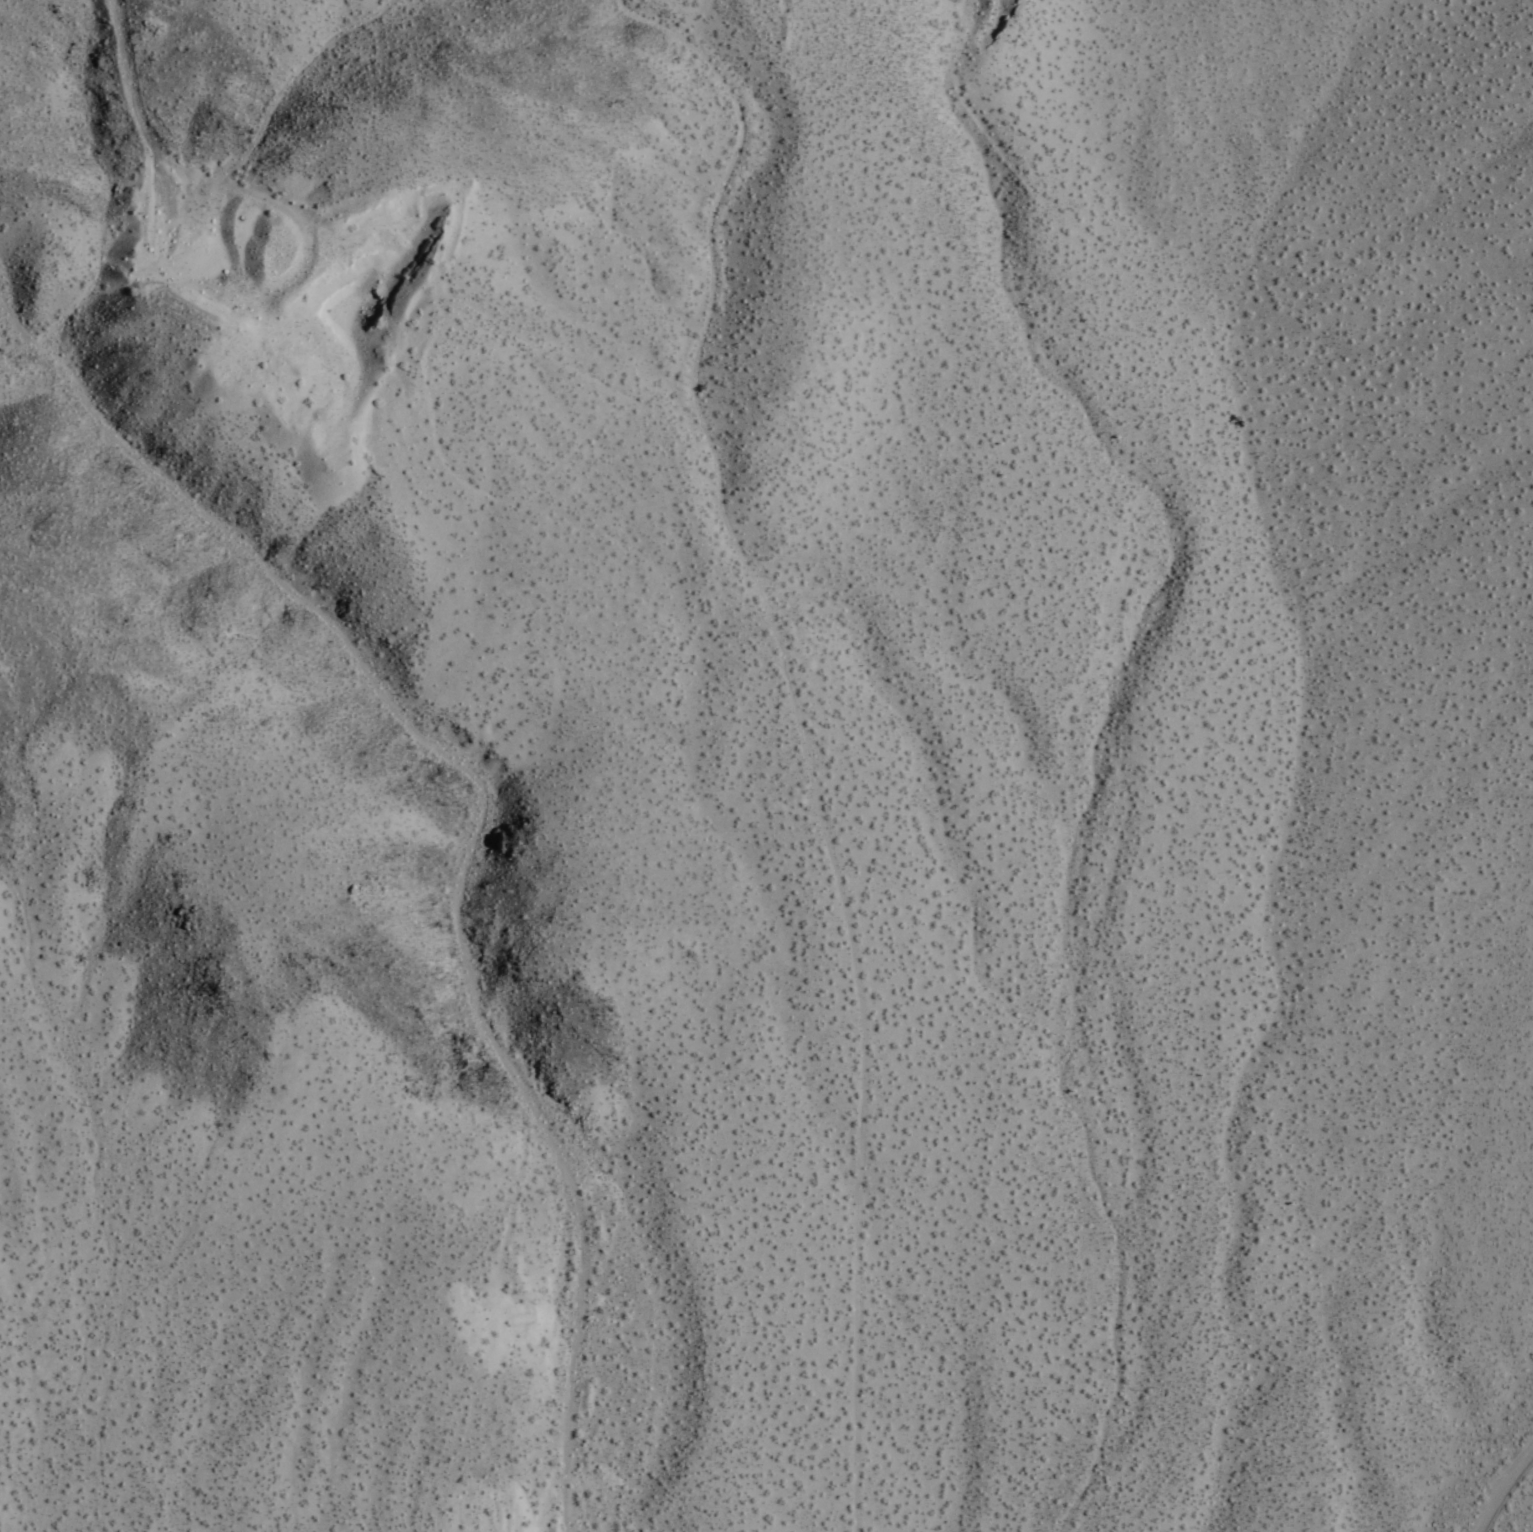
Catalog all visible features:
road: (107, 255)
road: (16, 328)

